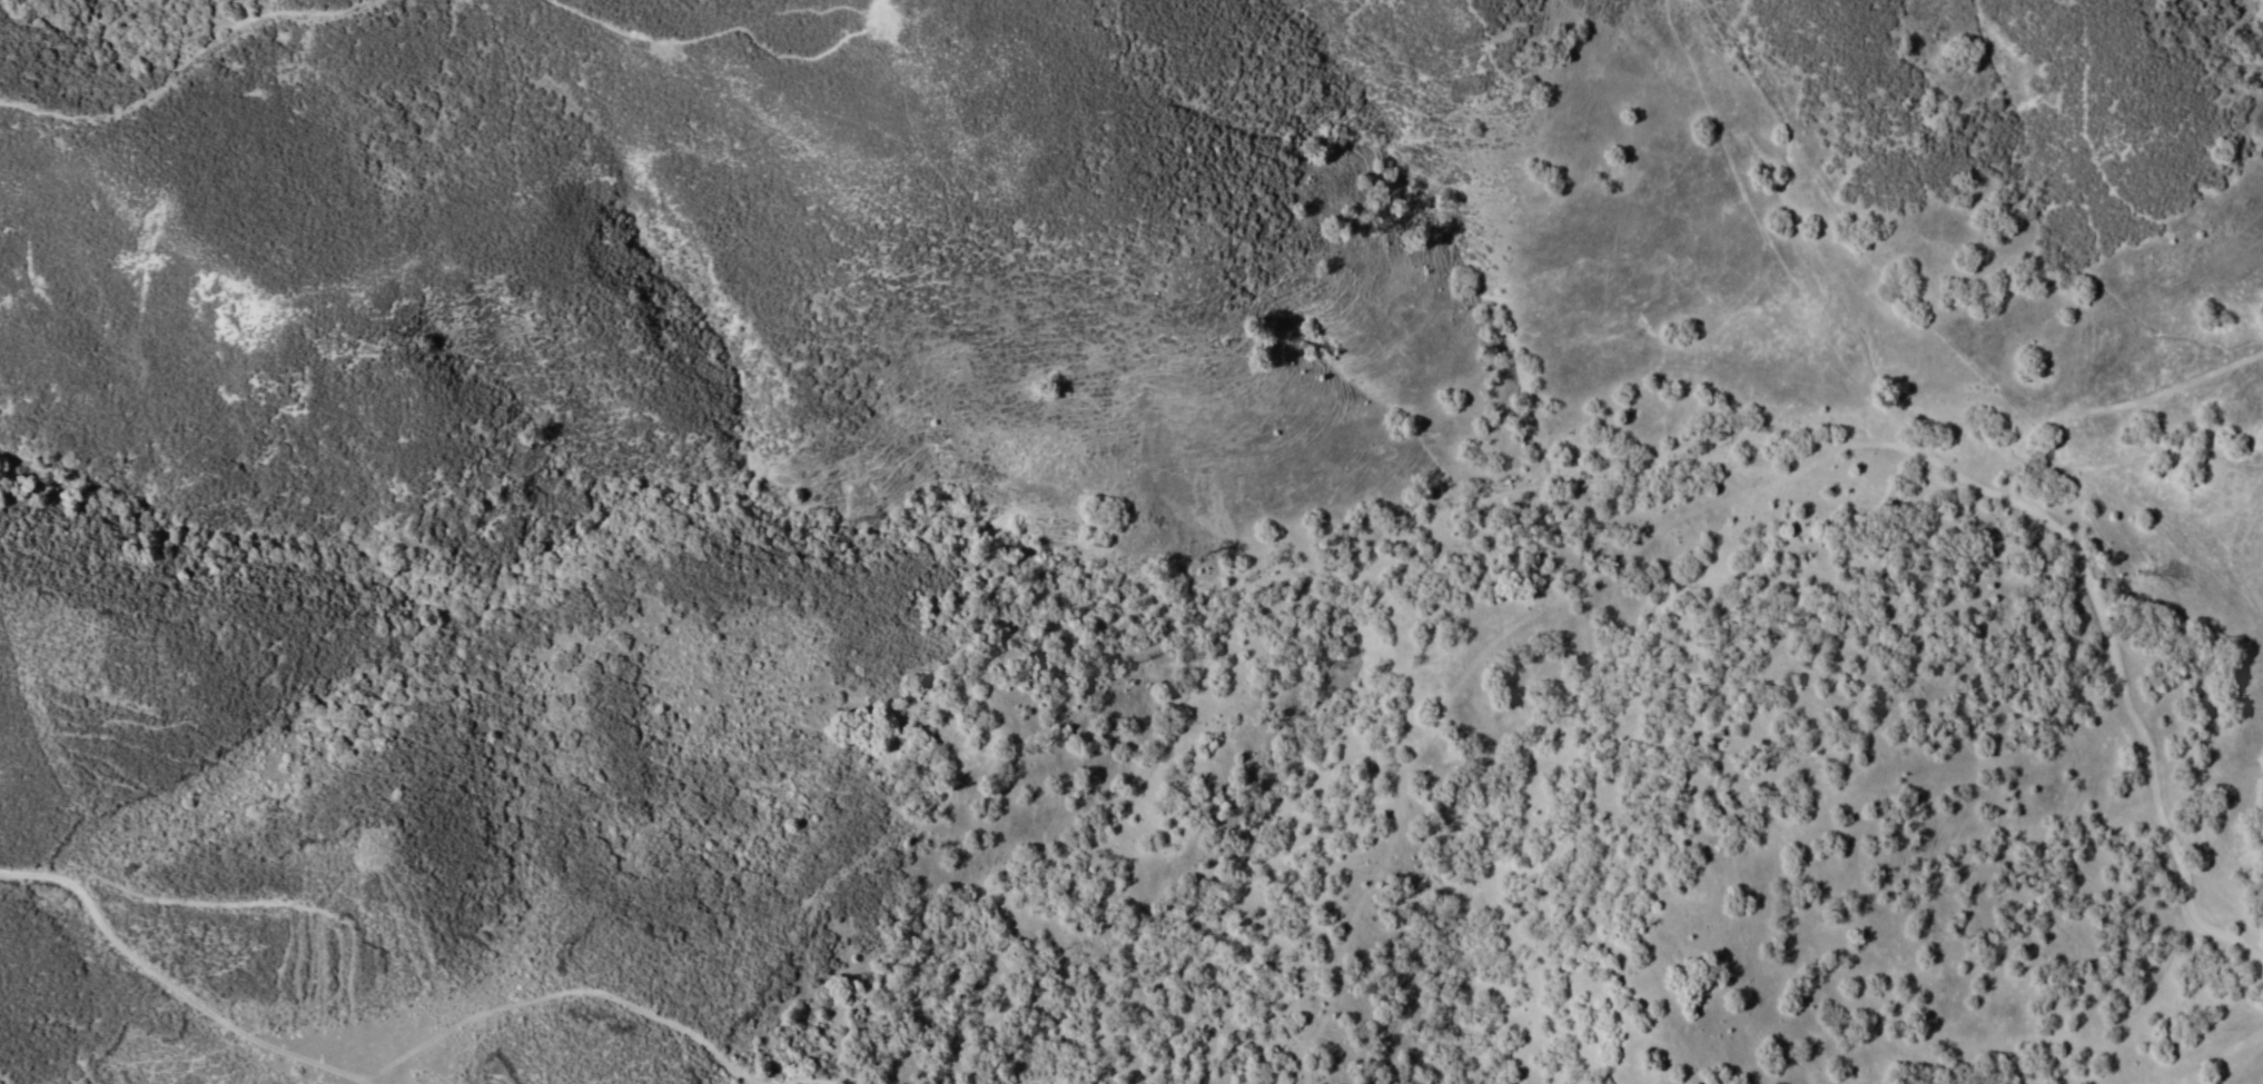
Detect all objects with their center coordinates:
road: (2132, 686)
road: (158, 987)
road: (573, 1003)
road: (2201, 1022)

